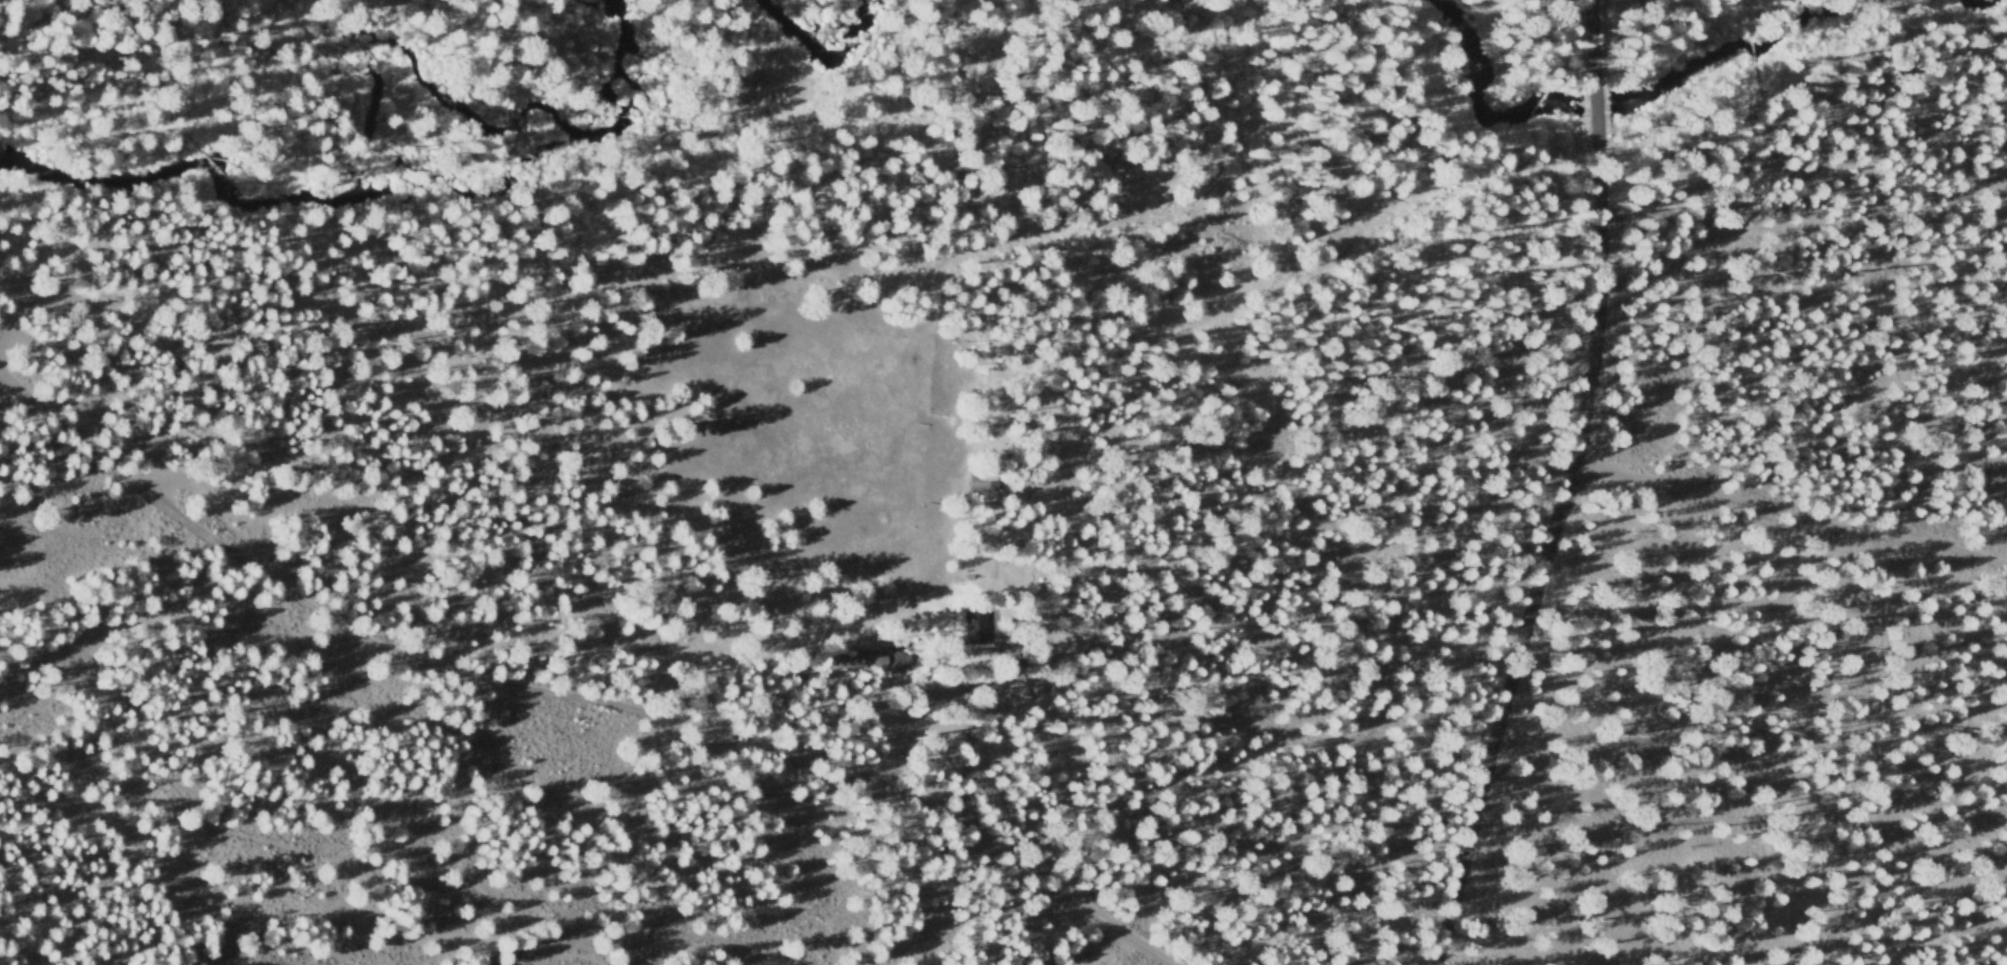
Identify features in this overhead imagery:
road: (1574, 490)
road: (1791, 523)
road: (573, 695)
road: (294, 850)

